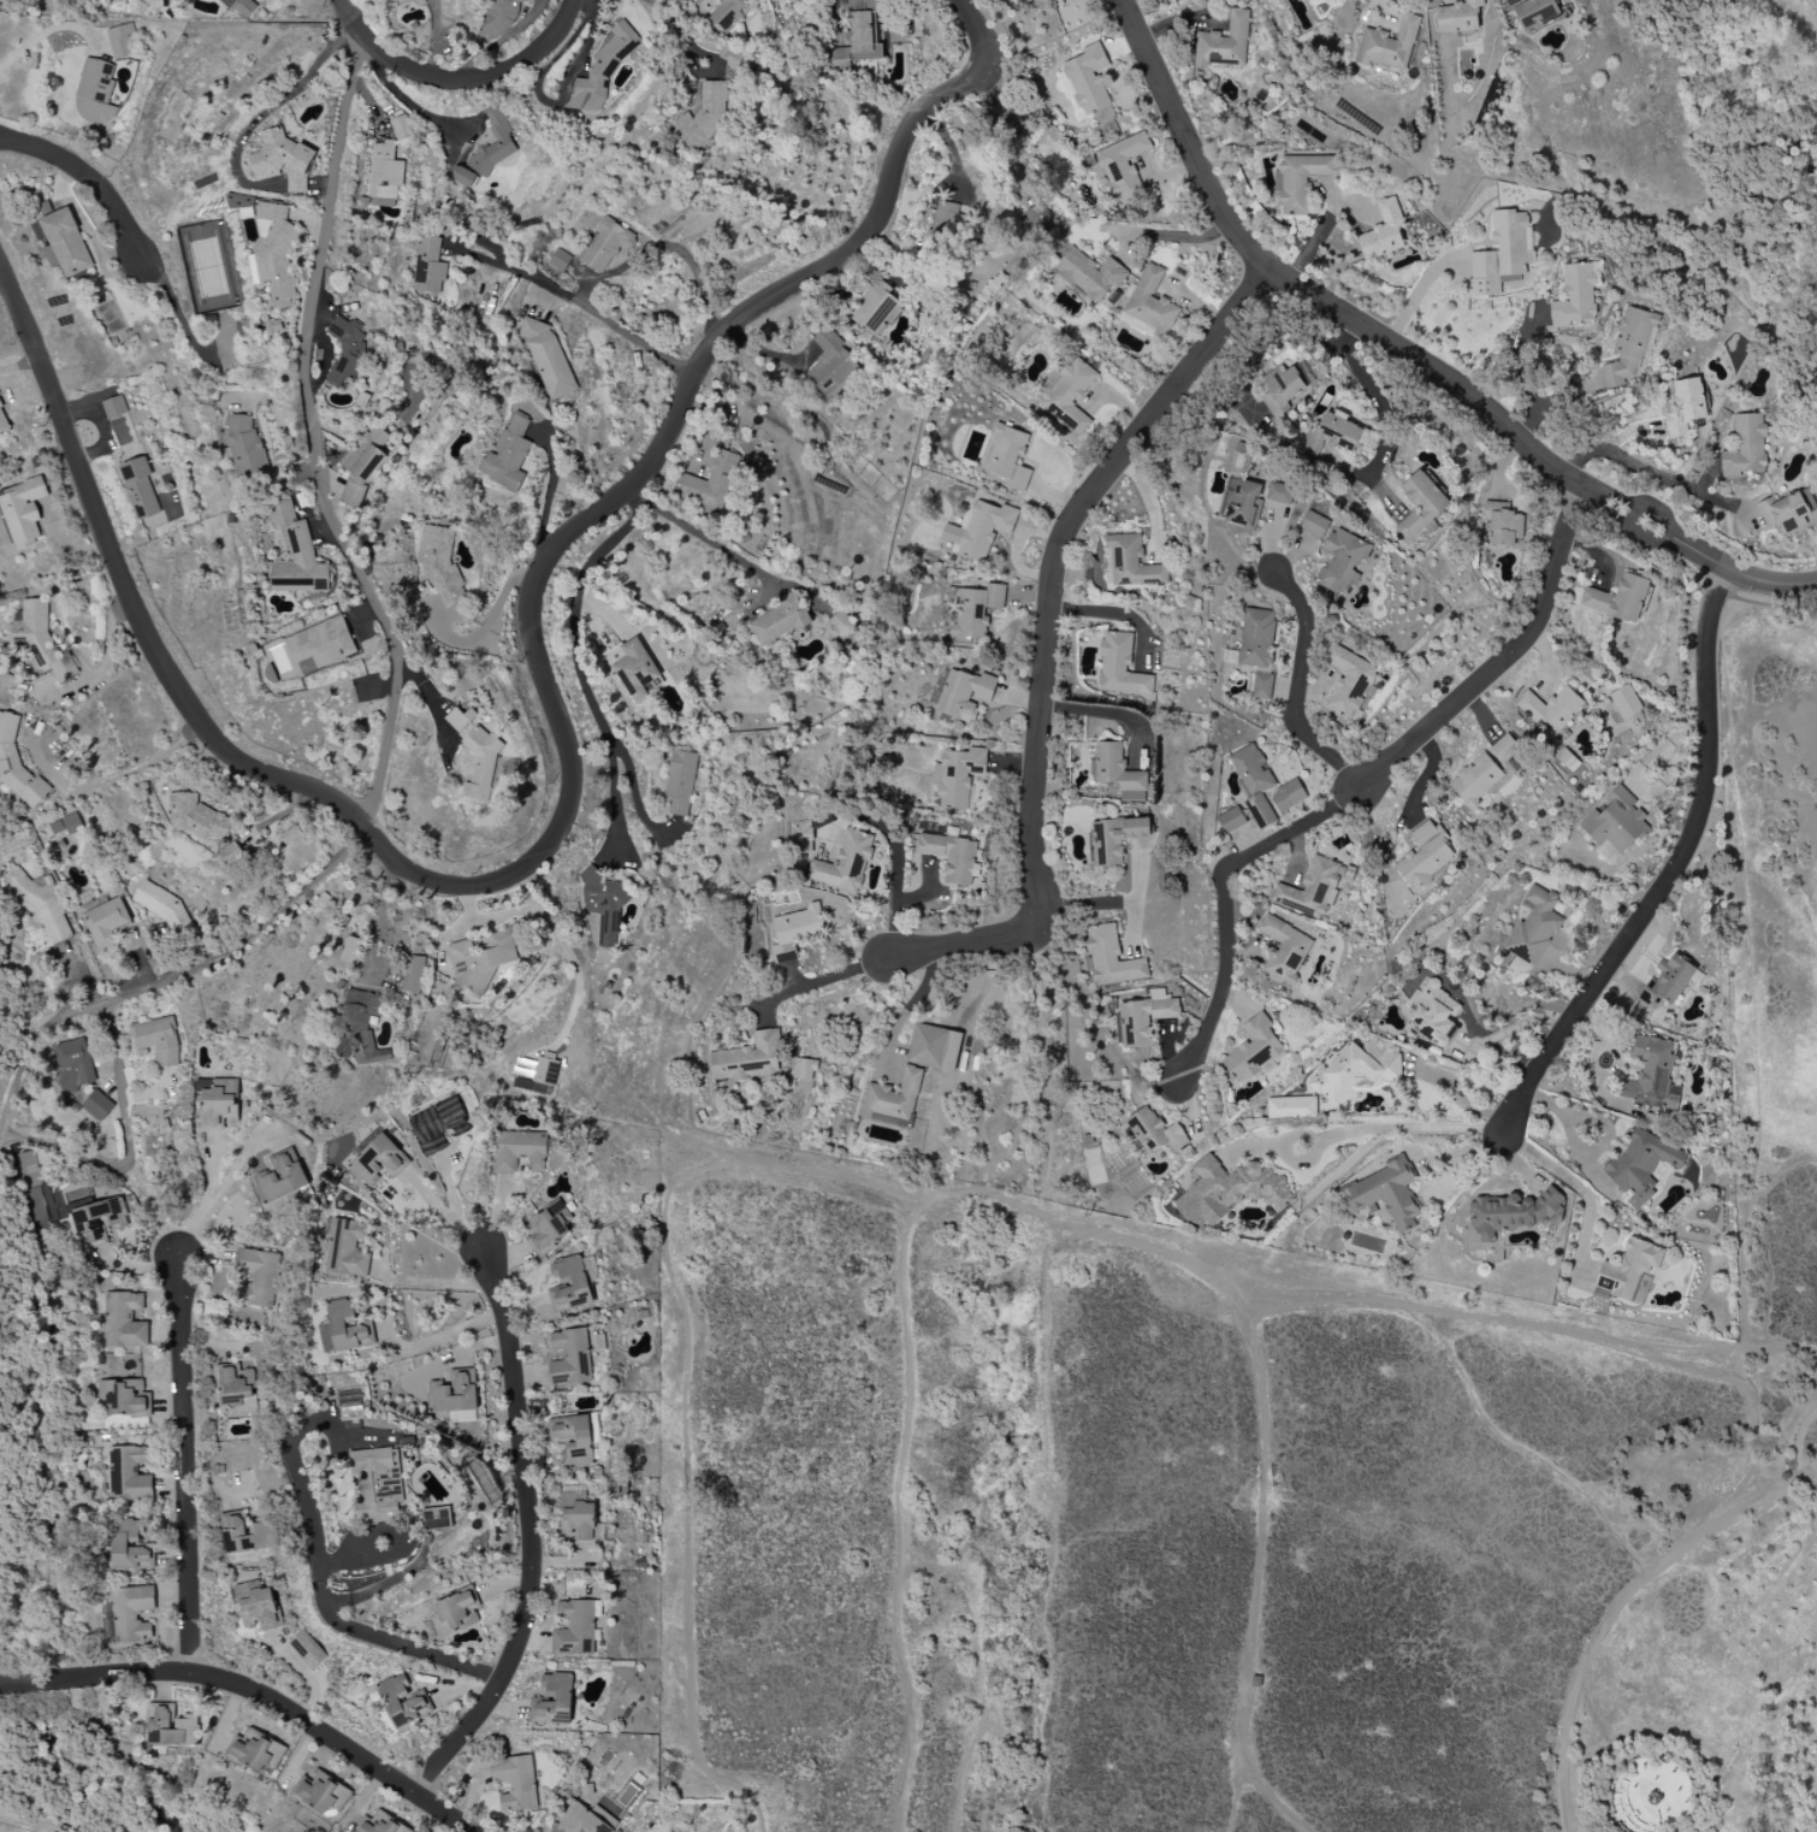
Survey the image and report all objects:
building: (395, 0)
road: (1813, 2)
building: (1535, 12)
building: (730, 13)
building: (499, 17)
building: (1457, 17)
road: (683, 35)
road: (52, 37)
building: (857, 41)
building: (120, 42)
building: (1223, 43)
building: (1389, 45)
building: (603, 69)
road: (458, 77)
building: (1084, 82)
building: (94, 91)
road: (401, 96)
road: (279, 110)
building: (704, 116)
road: (918, 122)
building: (401, 126)
building: (487, 148)
building: (280, 161)
building: (1123, 167)
building: (384, 171)
road: (91, 178)
building: (1300, 182)
park: (1736, 187)
building: (241, 202)
building: (1035, 221)
building: (939, 226)
building: (1383, 231)
road: (1174, 237)
building: (63, 243)
building: (606, 247)
building: (276, 253)
building: (1499, 256)
building: (558, 260)
building: (427, 266)
building: (1089, 273)
road: (1416, 294)
building: (1575, 296)
building: (1150, 302)
road: (578, 303)
building: (872, 305)
road: (1360, 325)
building: (273, 327)
road: (1269, 341)
building: (1628, 347)
building: (348, 350)
building: (549, 359)
building: (830, 364)
road: (1528, 379)
building: (1284, 386)
building: (1069, 394)
road: (1564, 395)
road: (1375, 398)
building: (114, 407)
building: (1685, 407)
building: (0, 409)
building: (1330, 435)
building: (242, 444)
building: (1745, 447)
building: (508, 456)
building: (1007, 457)
road: (1627, 459)
building: (363, 465)
building: (712, 481)
road: (551, 486)
building: (140, 487)
road: (634, 494)
building: (1279, 494)
building: (1244, 504)
building: (1420, 504)
building: (23, 510)
building: (1788, 510)
building: (1314, 524)
building: (1503, 525)
building: (981, 528)
road: (715, 544)
building: (295, 555)
building: (1339, 561)
building: (439, 562)
building: (1131, 563)
road: (1758, 580)
building: (1617, 599)
building: (976, 610)
building: (780, 620)
building: (842, 624)
road: (485, 626)
road: (573, 626)
building: (1256, 638)
building: (40, 639)
road: (1047, 644)
building: (320, 645)
building: (1119, 666)
road: (397, 669)
building: (634, 669)
building: (1348, 681)
building: (1261, 685)
building: (984, 687)
road: (1297, 689)
building: (953, 695)
building: (1624, 702)
building: (1552, 709)
road: (1107, 711)
building: (462, 721)
building: (1504, 747)
building: (481, 766)
building: (18, 767)
building: (1118, 773)
road: (125, 776)
building: (957, 776)
building: (1475, 780)
building: (1255, 781)
building: (680, 782)
road: (1366, 784)
building: (1285, 798)
building: (196, 819)
building: (1231, 820)
building: (1615, 821)
building: (66, 826)
building: (290, 834)
building: (800, 837)
building: (1114, 839)
building: (230, 853)
building: (1606, 853)
building: (1425, 856)
building: (952, 857)
building: (845, 862)
road: (1677, 873)
road: (468, 888)
building: (1310, 890)
road: (896, 894)
building: (603, 904)
building: (161, 905)
road: (1085, 906)
building: (43, 909)
road: (503, 916)
building: (106, 922)
building: (1533, 927)
building: (795, 932)
road: (982, 940)
building: (1284, 948)
building: (351, 950)
building: (480, 963)
building: (414, 974)
road: (824, 981)
road: (578, 982)
building: (1667, 982)
road: (909, 1009)
building: (1437, 1015)
building: (1144, 1017)
building: (359, 1028)
building: (156, 1041)
building: (934, 1047)
building: (1253, 1048)
building: (747, 1059)
building: (73, 1066)
building: (805, 1069)
building: (1353, 1070)
building: (544, 1074)
building: (1652, 1075)
building: (893, 1100)
road: (1460, 1101)
building: (97, 1105)
building: (220, 1105)
building: (1290, 1105)
building: (437, 1124)
road: (1374, 1128)
road: (1568, 1129)
building: (1155, 1131)
road: (128, 1148)
building: (517, 1151)
road: (1436, 1153)
building: (378, 1160)
building: (1640, 1166)
building: (280, 1177)
road: (410, 1180)
road: (876, 1180)
building: (36, 1182)
road: (1582, 1188)
building: (1230, 1190)
road: (220, 1194)
building: (1385, 1194)
road: (451, 1200)
building: (1516, 1215)
building: (100, 1222)
building: (550, 1228)
building: (345, 1249)
building: (1628, 1269)
building: (256, 1277)
road: (421, 1281)
building: (569, 1286)
building: (220, 1287)
building: (124, 1320)
building: (344, 1328)
road: (1553, 1328)
road: (437, 1337)
building: (570, 1358)
building: (237, 1387)
building: (454, 1393)
building: (125, 1397)
building: (350, 1405)
building: (576, 1438)
road: (1800, 1450)
road: (185, 1467)
building: (130, 1475)
park: (1254, 1481)
building: (375, 1485)
road: (898, 1506)
building: (436, 1518)
building: (578, 1520)
road: (1052, 1527)
building: (243, 1533)
road: (529, 1536)
building: (130, 1546)
road: (322, 1590)
building: (258, 1608)
road: (1614, 1609)
building: (132, 1613)
building: (455, 1613)
building: (574, 1629)
building: (307, 1650)
road: (981, 1663)
building: (1251, 1673)
road: (254, 1694)
building: (552, 1701)
building: (401, 1703)
building: (171, 1727)
road: (1645, 1737)
road: (1760, 1737)
road: (1653, 1750)
building: (255, 1751)
building: (515, 1783)
road: (1237, 1791)
building: (321, 1792)
building: (1655, 1795)
building: (585, 1819)
building: (379, 1824)
road: (1622, 1831)

